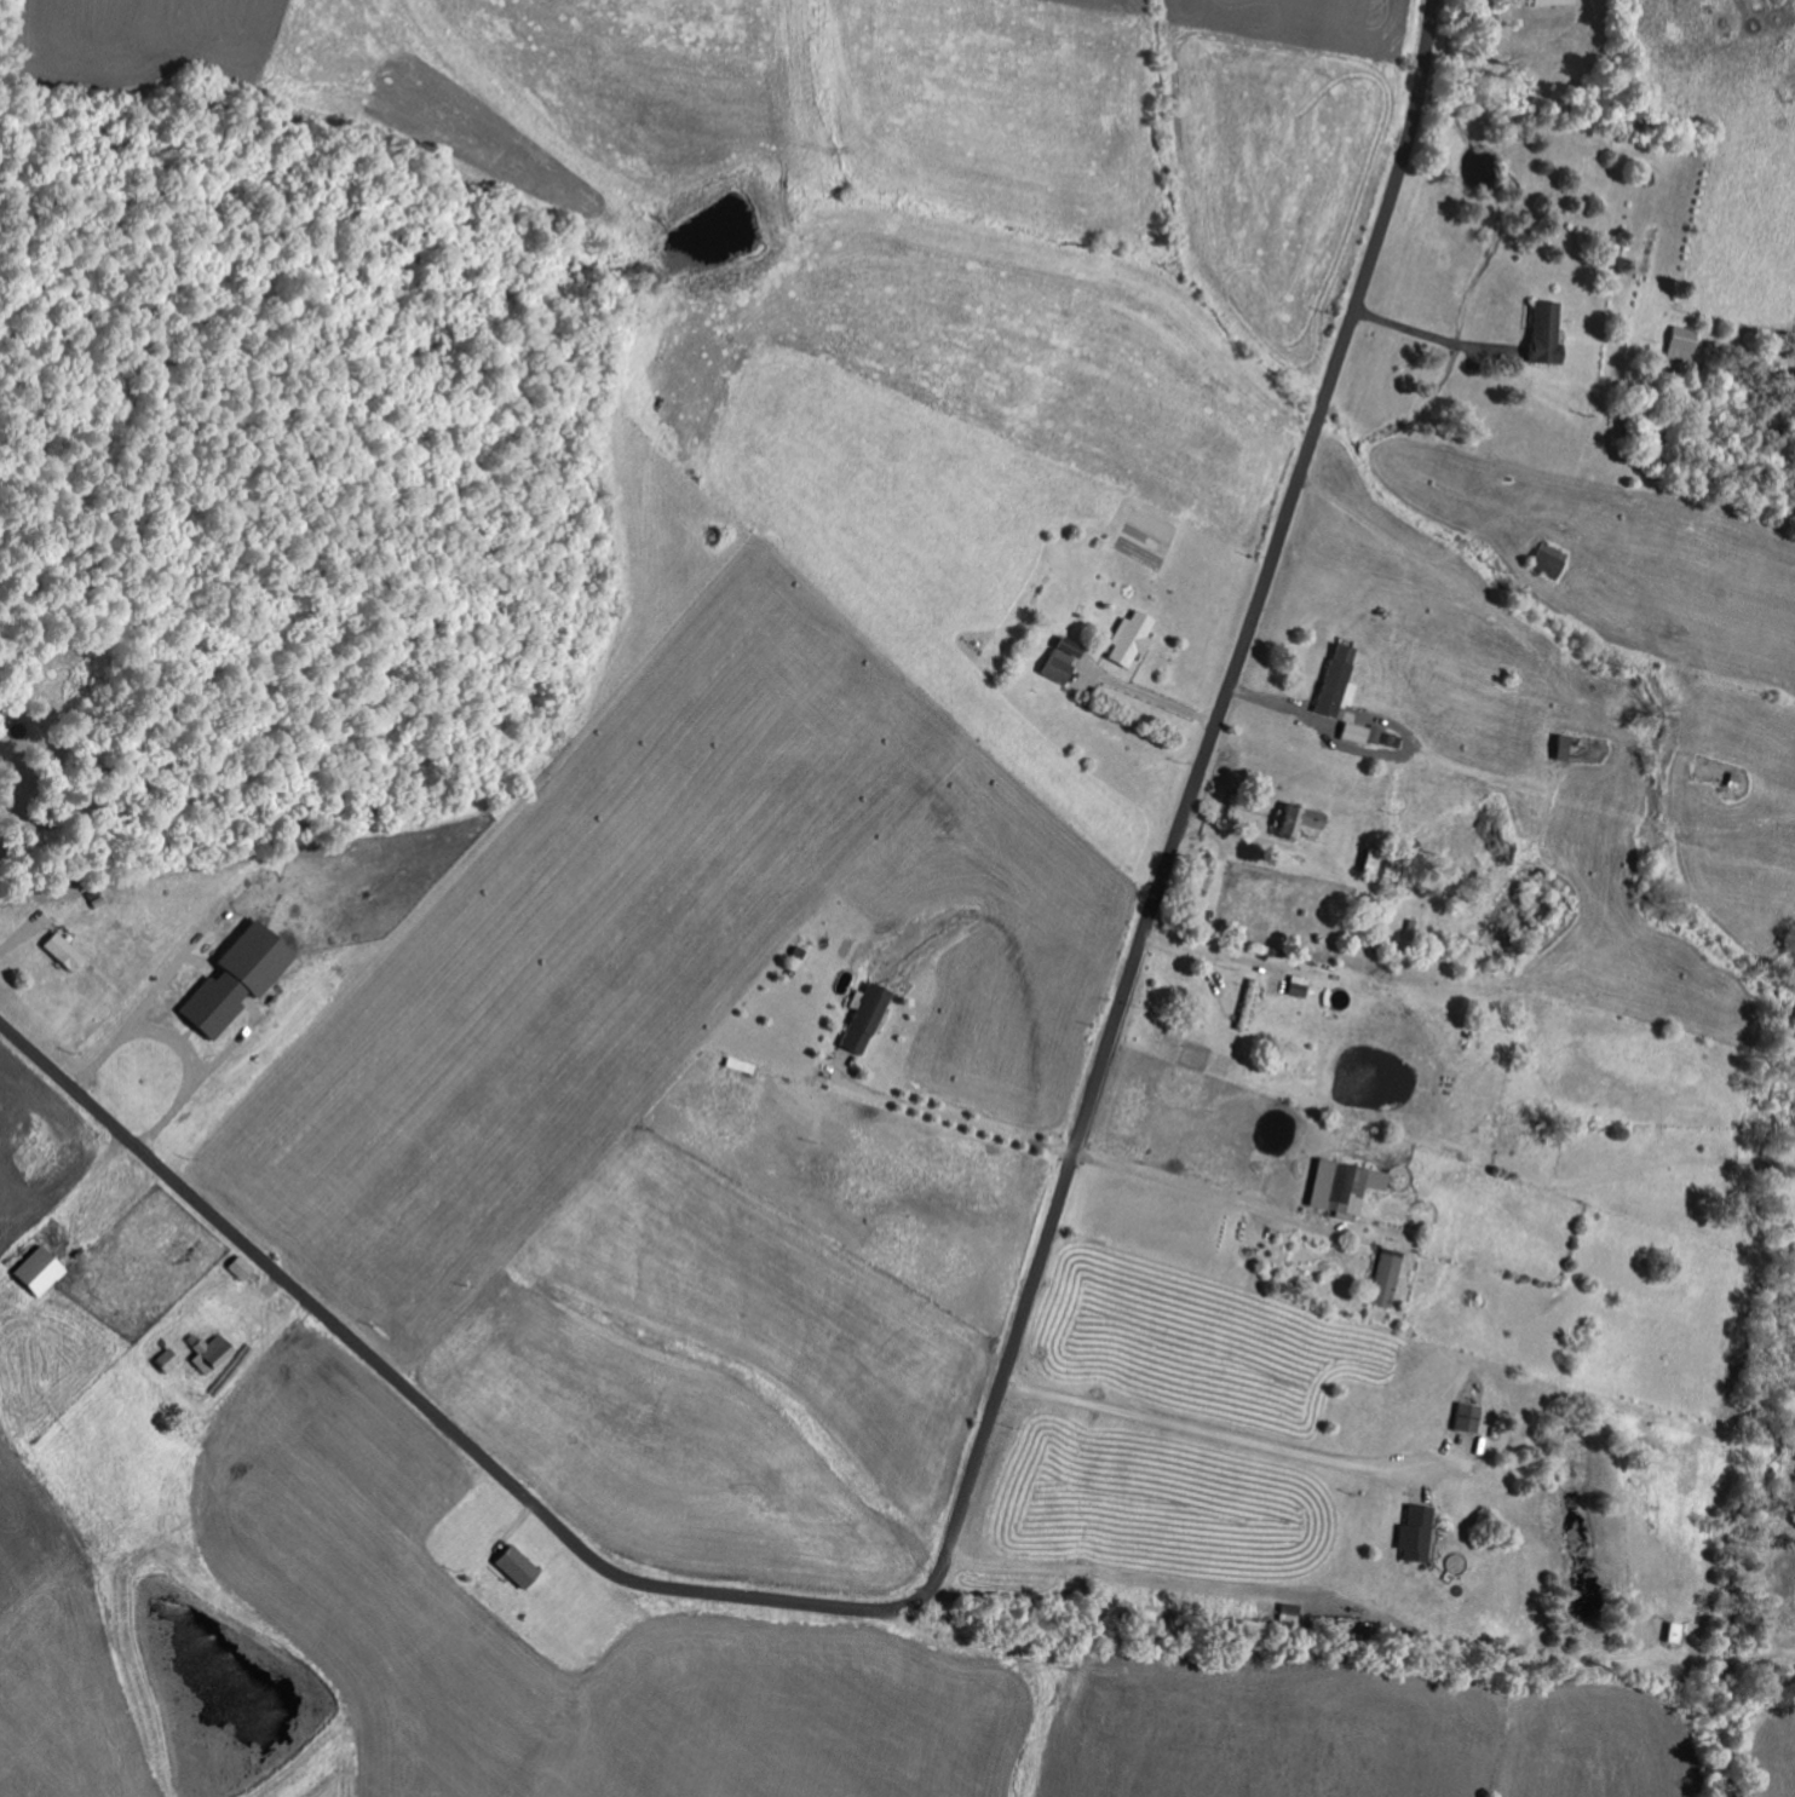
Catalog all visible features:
building: (1546, 2)
building: (1541, 333)
road: (1434, 338)
building: (1680, 344)
road: (1406, 545)
building: (1548, 560)
building: (1128, 639)
building: (1060, 661)
building: (1330, 682)
building: (1357, 735)
building: (1296, 824)
building: (61, 952)
building: (231, 980)
building: (1298, 987)
building: (1249, 1000)
building: (863, 1019)
road: (953, 1117)
building: (1342, 1187)
road: (1202, 1193)
building: (238, 1267)
building: (38, 1272)
building: (1387, 1279)
road: (1017, 1344)
building: (208, 1353)
building: (167, 1360)
building: (1471, 1417)
road: (1235, 1436)
building: (1416, 1533)
building: (513, 1566)
road: (1293, 1592)
building: (1676, 1632)

